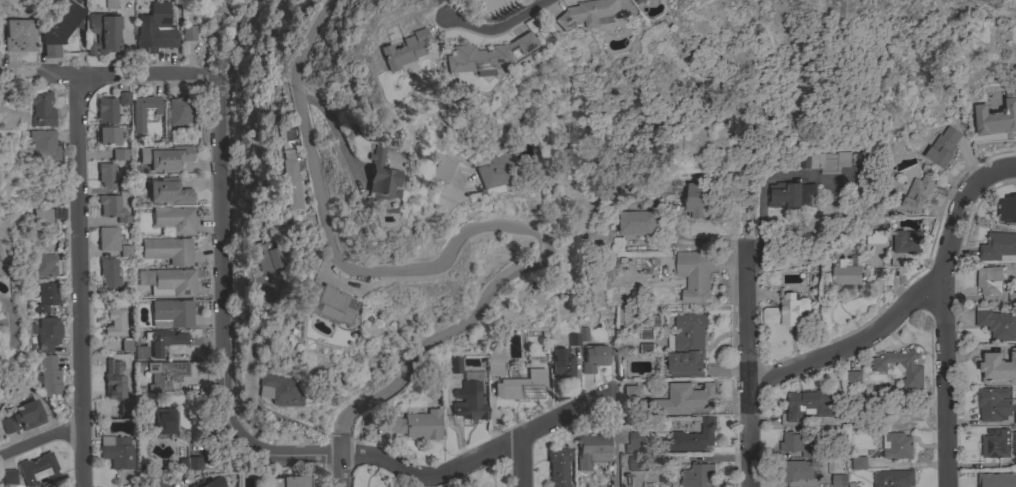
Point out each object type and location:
building: (639, 1)
building: (111, 4)
building: (490, 5)
building: (593, 13)
road: (499, 27)
building: (154, 29)
building: (103, 32)
building: (188, 32)
building: (20, 35)
building: (56, 35)
building: (1014, 40)
building: (404, 49)
building: (483, 55)
road: (43, 72)
road: (146, 76)
building: (123, 97)
building: (41, 108)
building: (105, 109)
building: (143, 110)
building: (179, 111)
building: (998, 116)
road: (332, 122)
building: (107, 134)
building: (44, 144)
building: (942, 147)
building: (119, 154)
building: (170, 158)
building: (825, 161)
building: (447, 164)
building: (497, 171)
building: (106, 174)
building: (376, 174)
building: (287, 180)
road: (764, 182)
building: (123, 185)
building: (169, 191)
building: (917, 193)
building: (790, 194)
building: (701, 200)
building: (112, 207)
building: (1007, 209)
road: (224, 212)
building: (175, 219)
building: (44, 220)
building: (637, 223)
road: (479, 230)
building: (107, 238)
building: (875, 238)
road: (694, 243)
building: (903, 245)
building: (998, 247)
building: (125, 250)
building: (168, 250)
building: (268, 259)
building: (43, 264)
building: (1, 267)
building: (108, 273)
building: (848, 273)
building: (695, 274)
building: (988, 280)
building: (168, 281)
road: (82, 291)
building: (46, 296)
building: (1012, 297)
road: (914, 301)
building: (327, 304)
building: (786, 311)
building: (171, 313)
building: (114, 322)
building: (997, 323)
building: (649, 329)
building: (47, 333)
building: (578, 336)
building: (163, 340)
building: (687, 346)
building: (645, 348)
road: (13, 349)
building: (140, 352)
building: (593, 358)
building: (494, 360)
building: (454, 364)
building: (561, 364)
road: (749, 365)
building: (902, 367)
building: (997, 367)
building: (48, 374)
building: (167, 374)
building: (853, 377)
building: (113, 381)
building: (521, 386)
road: (945, 386)
building: (279, 389)
building: (627, 392)
building: (696, 396)
building: (468, 401)
building: (994, 404)
building: (808, 405)
building: (126, 409)
building: (661, 409)
building: (23, 416)
road: (289, 420)
building: (161, 422)
building: (415, 424)
building: (691, 437)
road: (617, 438)
building: (633, 441)
road: (42, 442)
building: (795, 443)
building: (1014, 443)
building: (896, 445)
building: (995, 445)
building: (592, 449)
building: (118, 450)
building: (679, 460)
road: (522, 461)
building: (144, 463)
building: (189, 463)
building: (638, 463)
building: (858, 463)
building: (557, 465)
building: (37, 468)
building: (796, 470)
road: (430, 473)
building: (698, 475)
building: (7, 476)
building: (893, 478)
building: (996, 479)
building: (836, 480)
road: (178, 481)
building: (291, 481)
building: (209, 483)
building: (851, 484)
building: (51, 486)

